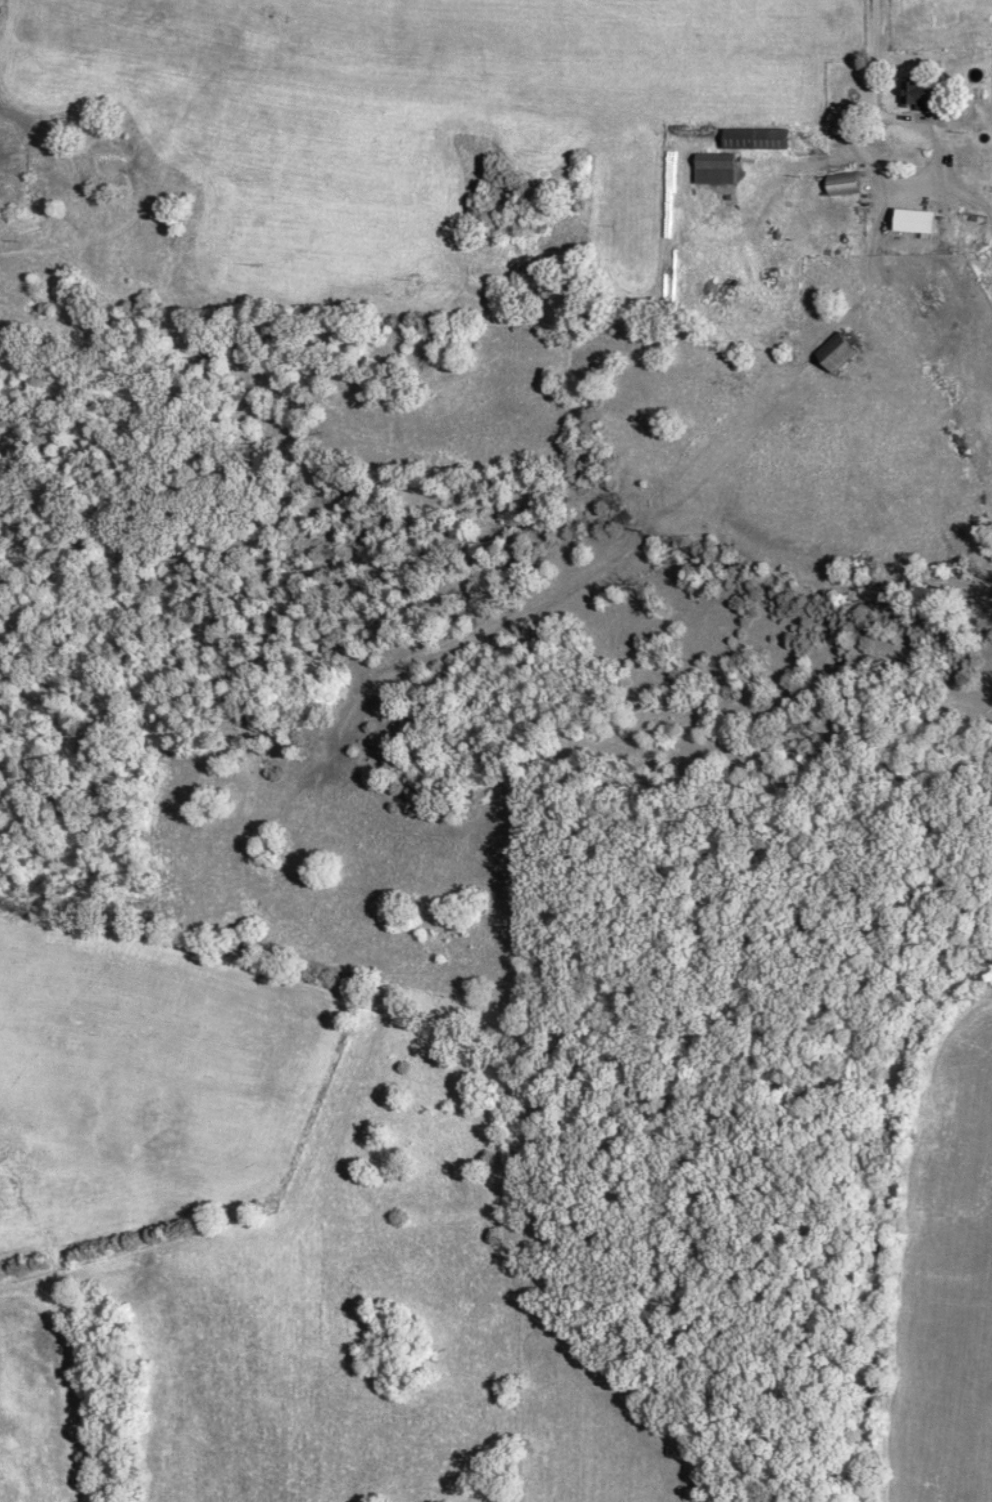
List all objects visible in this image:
road: (875, 83)
building: (920, 93)
building: (772, 140)
building: (717, 170)
building: (845, 185)
building: (928, 230)
building: (838, 352)

